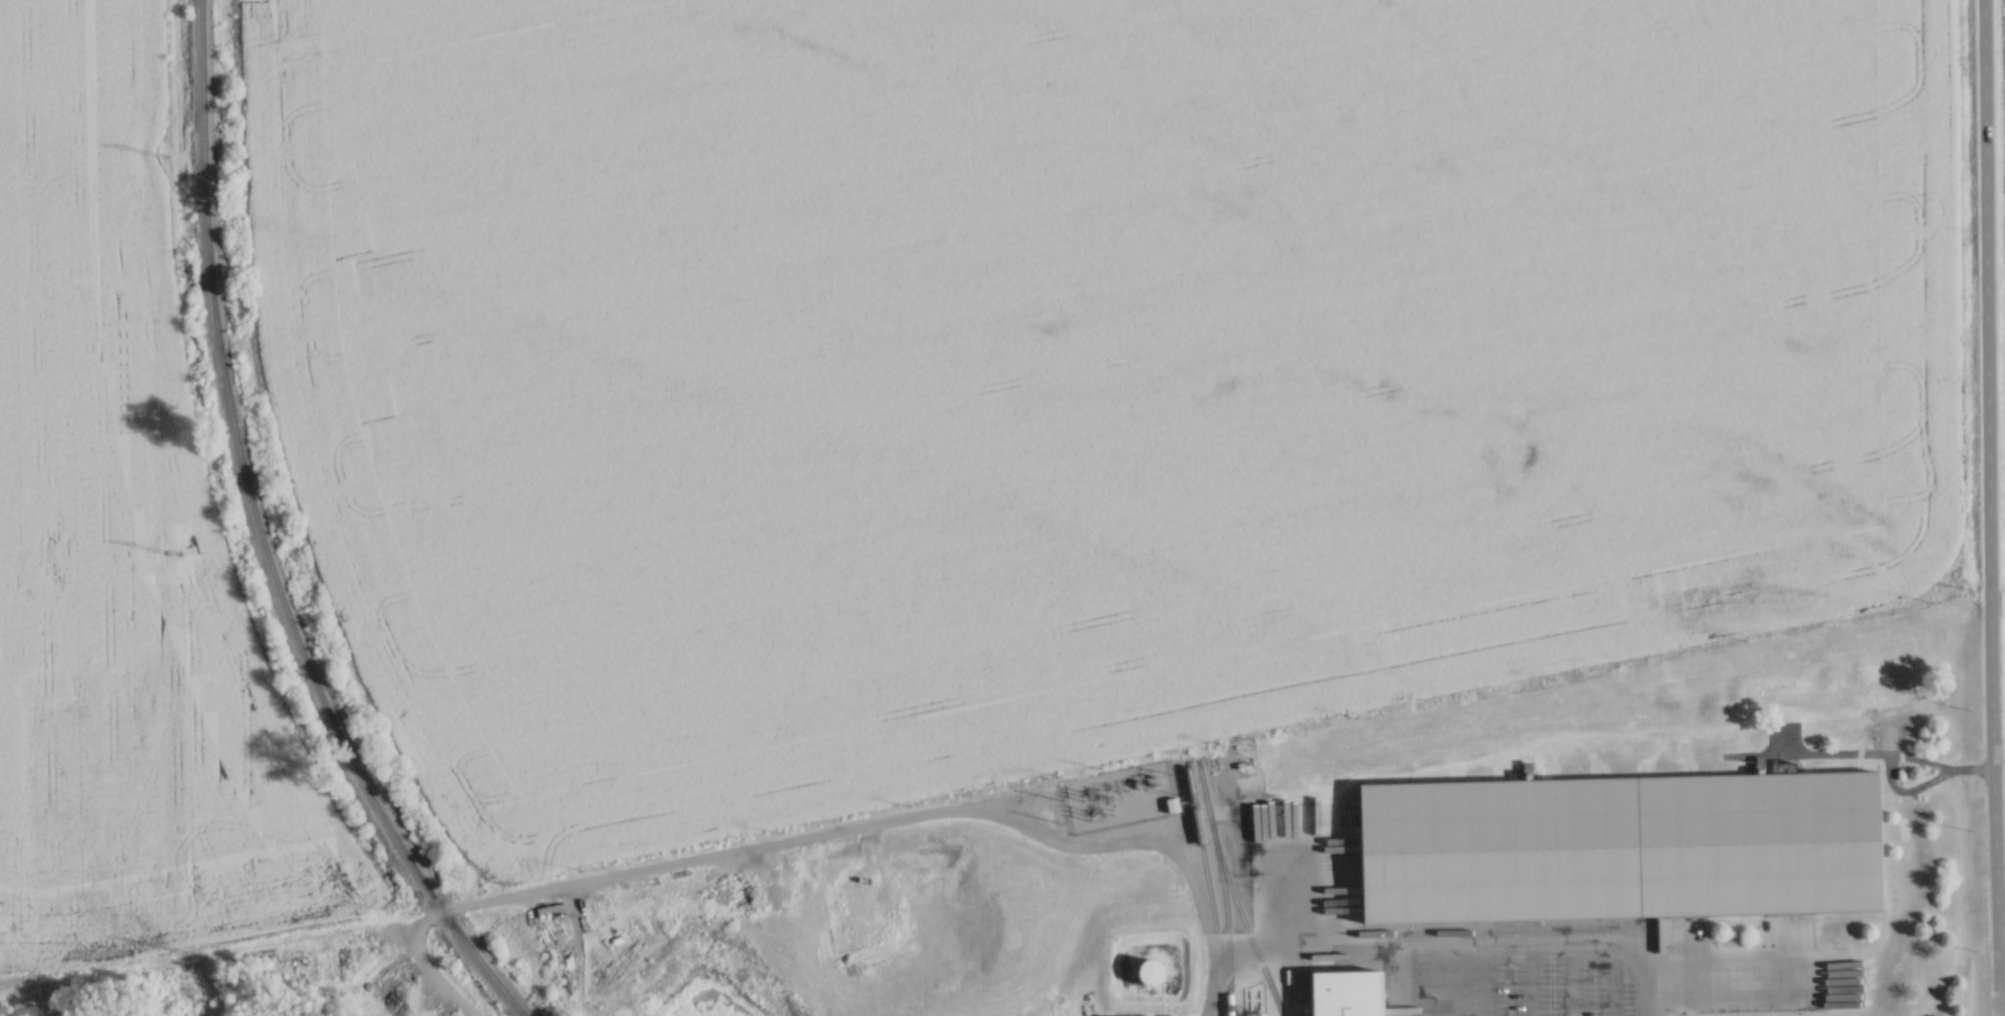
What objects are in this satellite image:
power tower: (172, 153)
road: (1987, 329)
railway: (261, 540)
power tower: (181, 550)
power substation: (1123, 793)
road: (826, 834)
road: (1995, 837)
building: (1617, 846)
railway: (1209, 887)
railway: (1232, 889)
railway: (1226, 914)
road: (1462, 943)
power tower: (182, 951)
building: (1146, 971)
road: (1528, 979)
road: (1721, 980)
building: (1344, 992)

